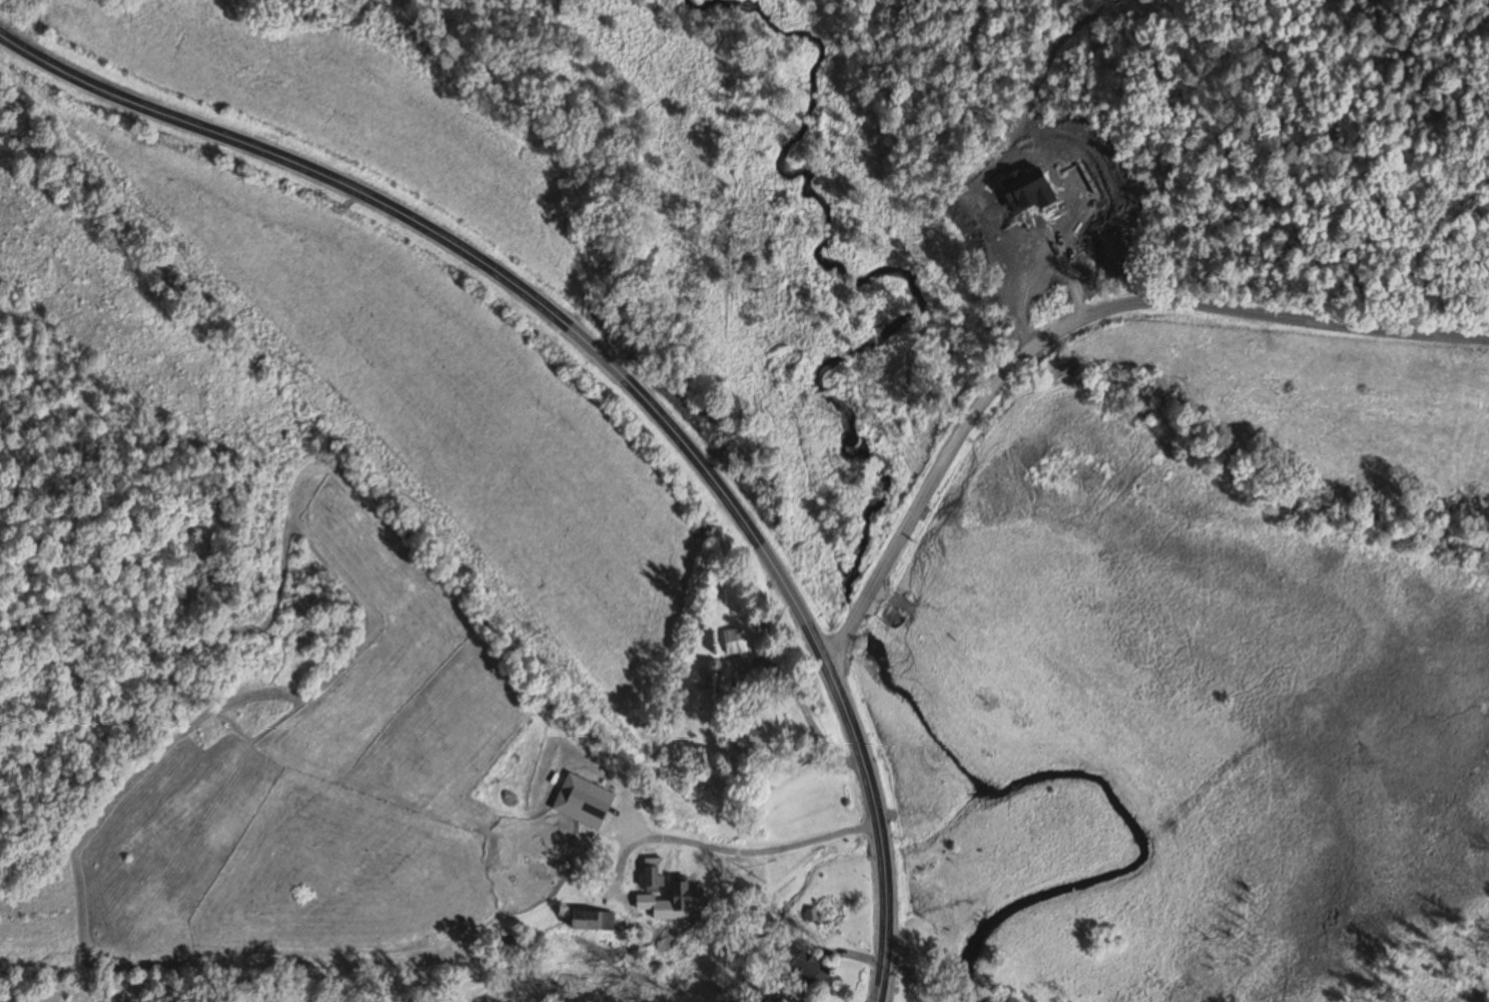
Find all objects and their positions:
road: (1083, 317)
road: (615, 374)
building: (732, 642)
road: (833, 649)
building: (750, 740)
building: (650, 876)
building: (588, 922)
building: (805, 970)

